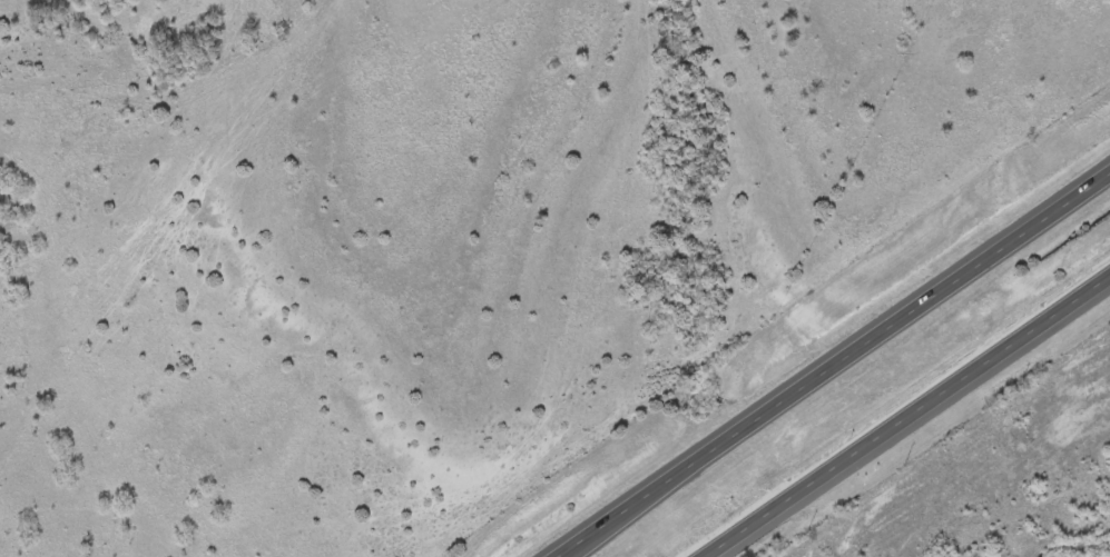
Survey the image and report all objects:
road: (828, 360)
road: (905, 412)

